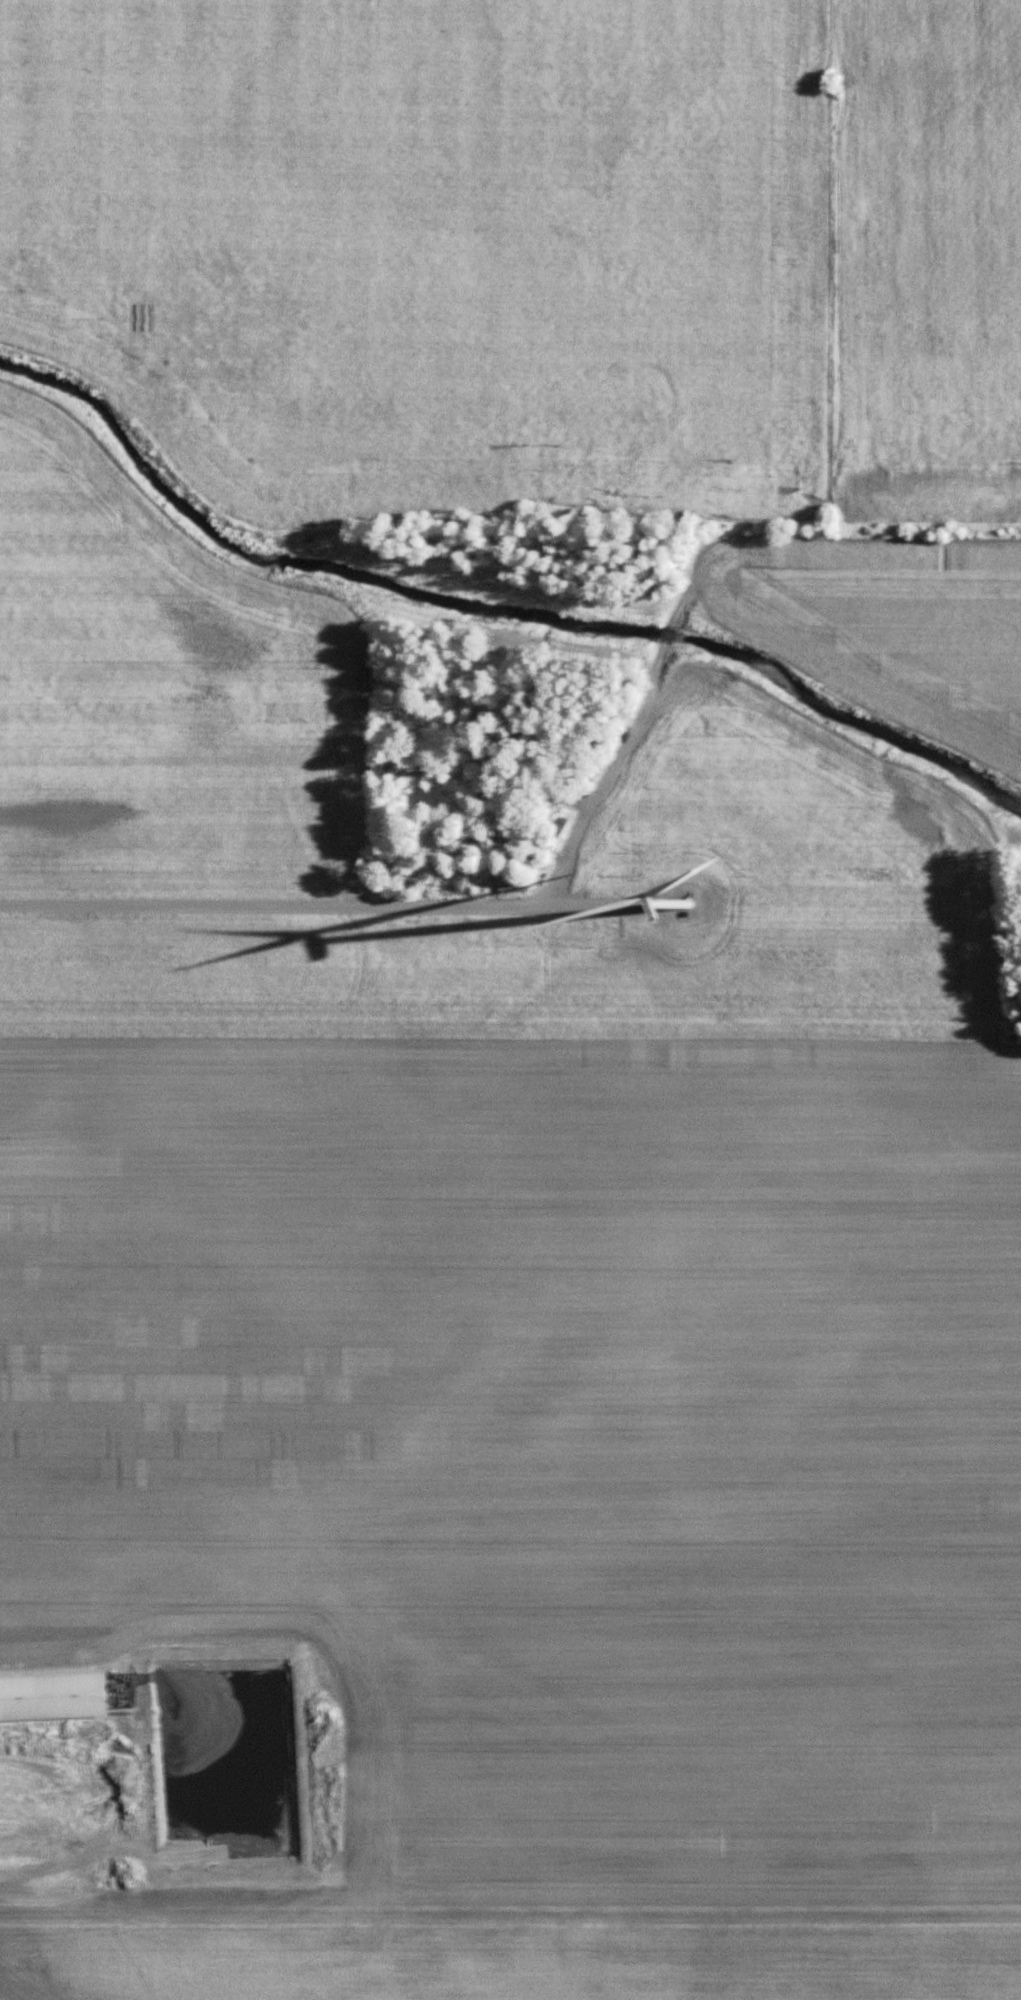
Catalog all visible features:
river: (491, 609)
wind turbine: (694, 905)
road: (318, 906)
building: (52, 1698)

